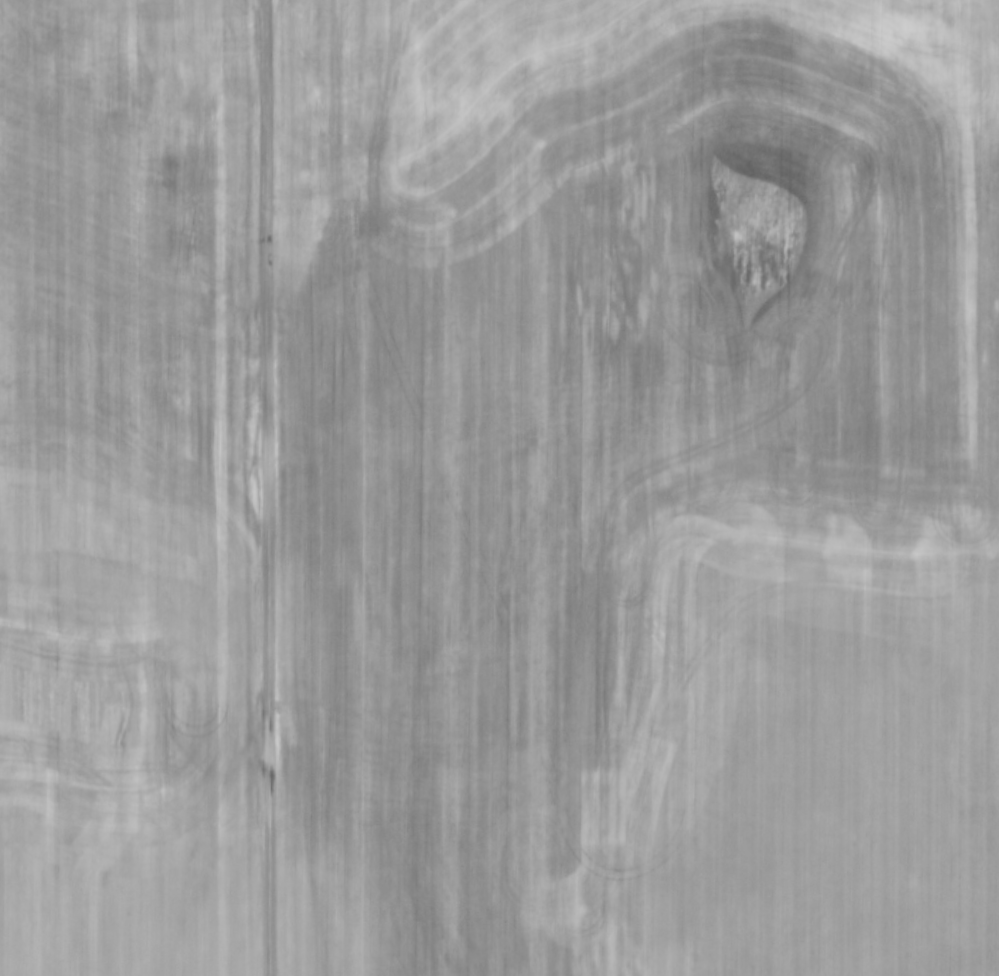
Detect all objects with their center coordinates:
road: (268, 488)

